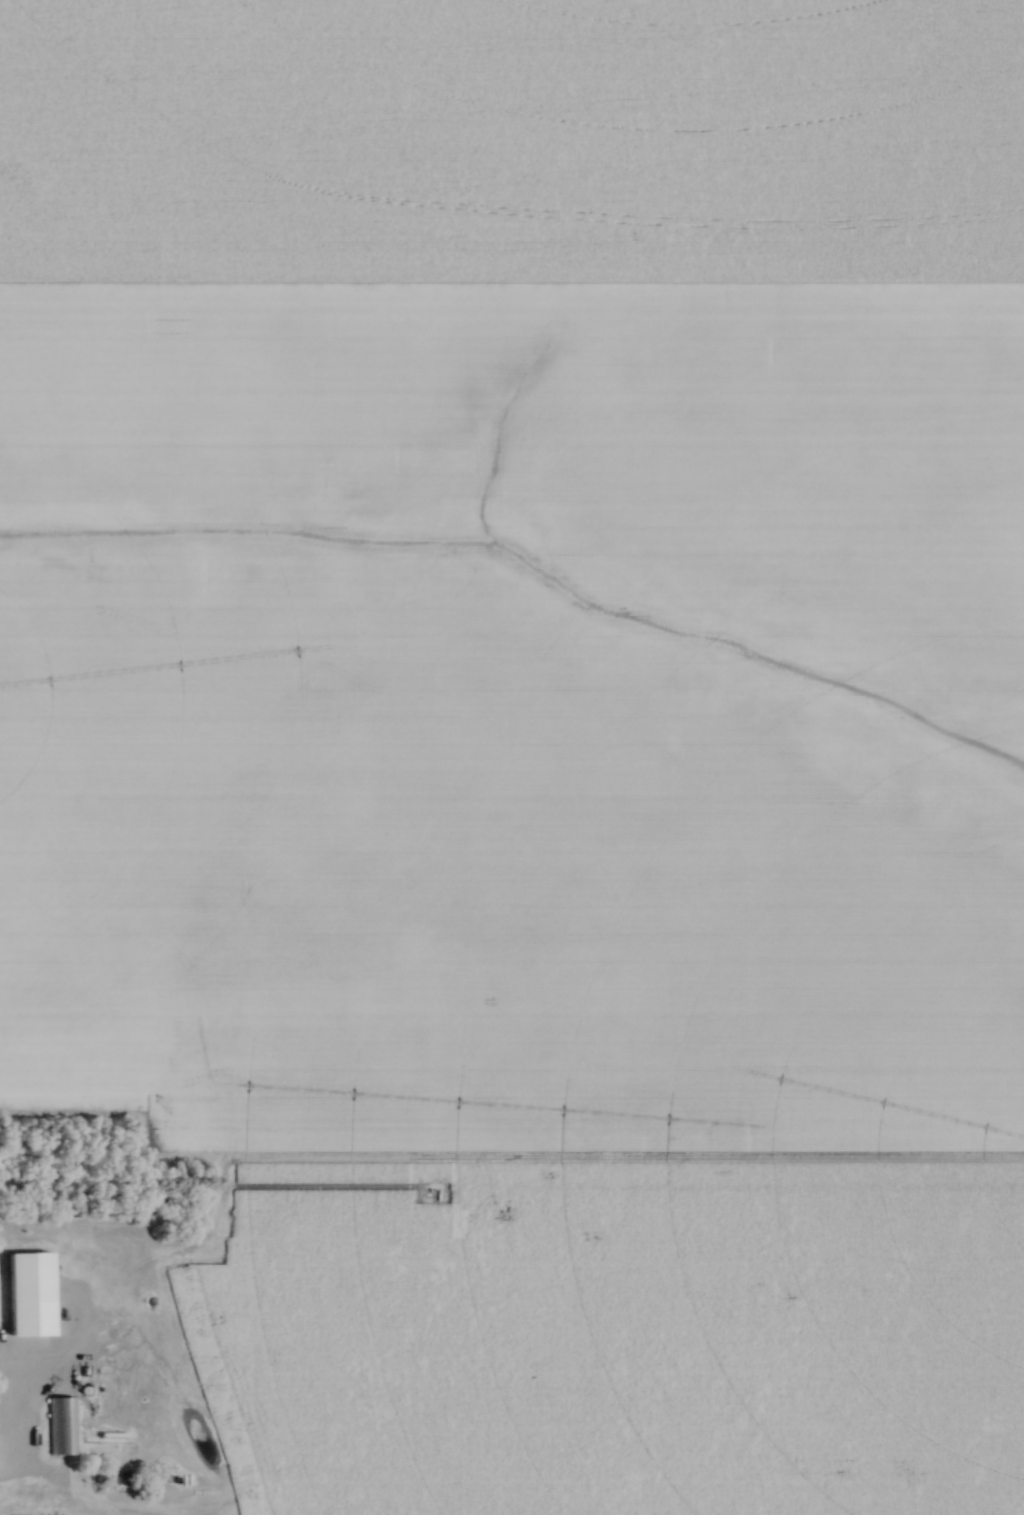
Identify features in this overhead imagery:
building: (21, 1359)
building: (60, 1427)

